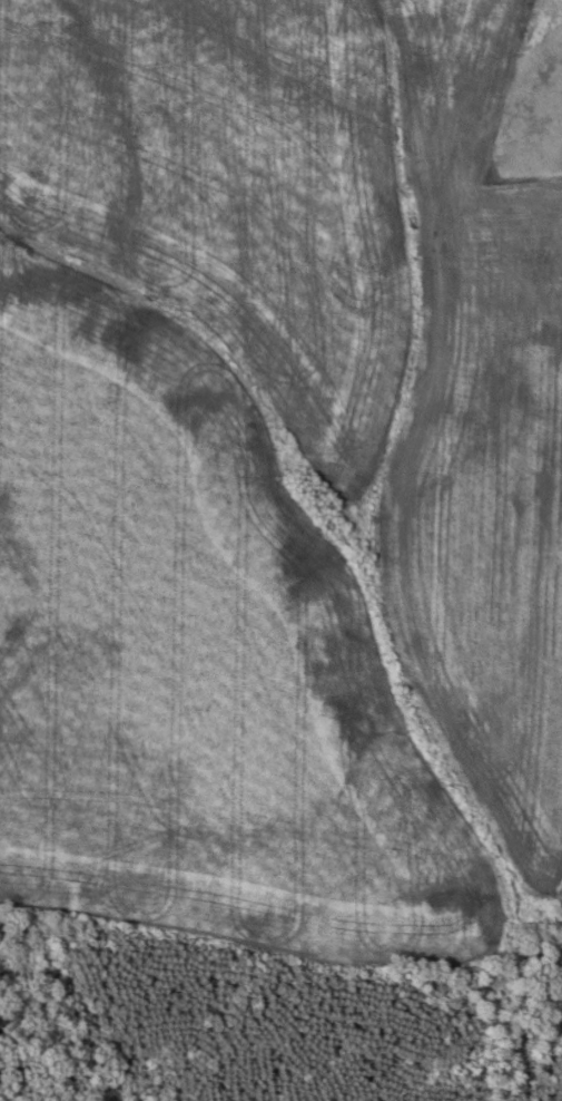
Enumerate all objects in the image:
crop: (276, 475)

